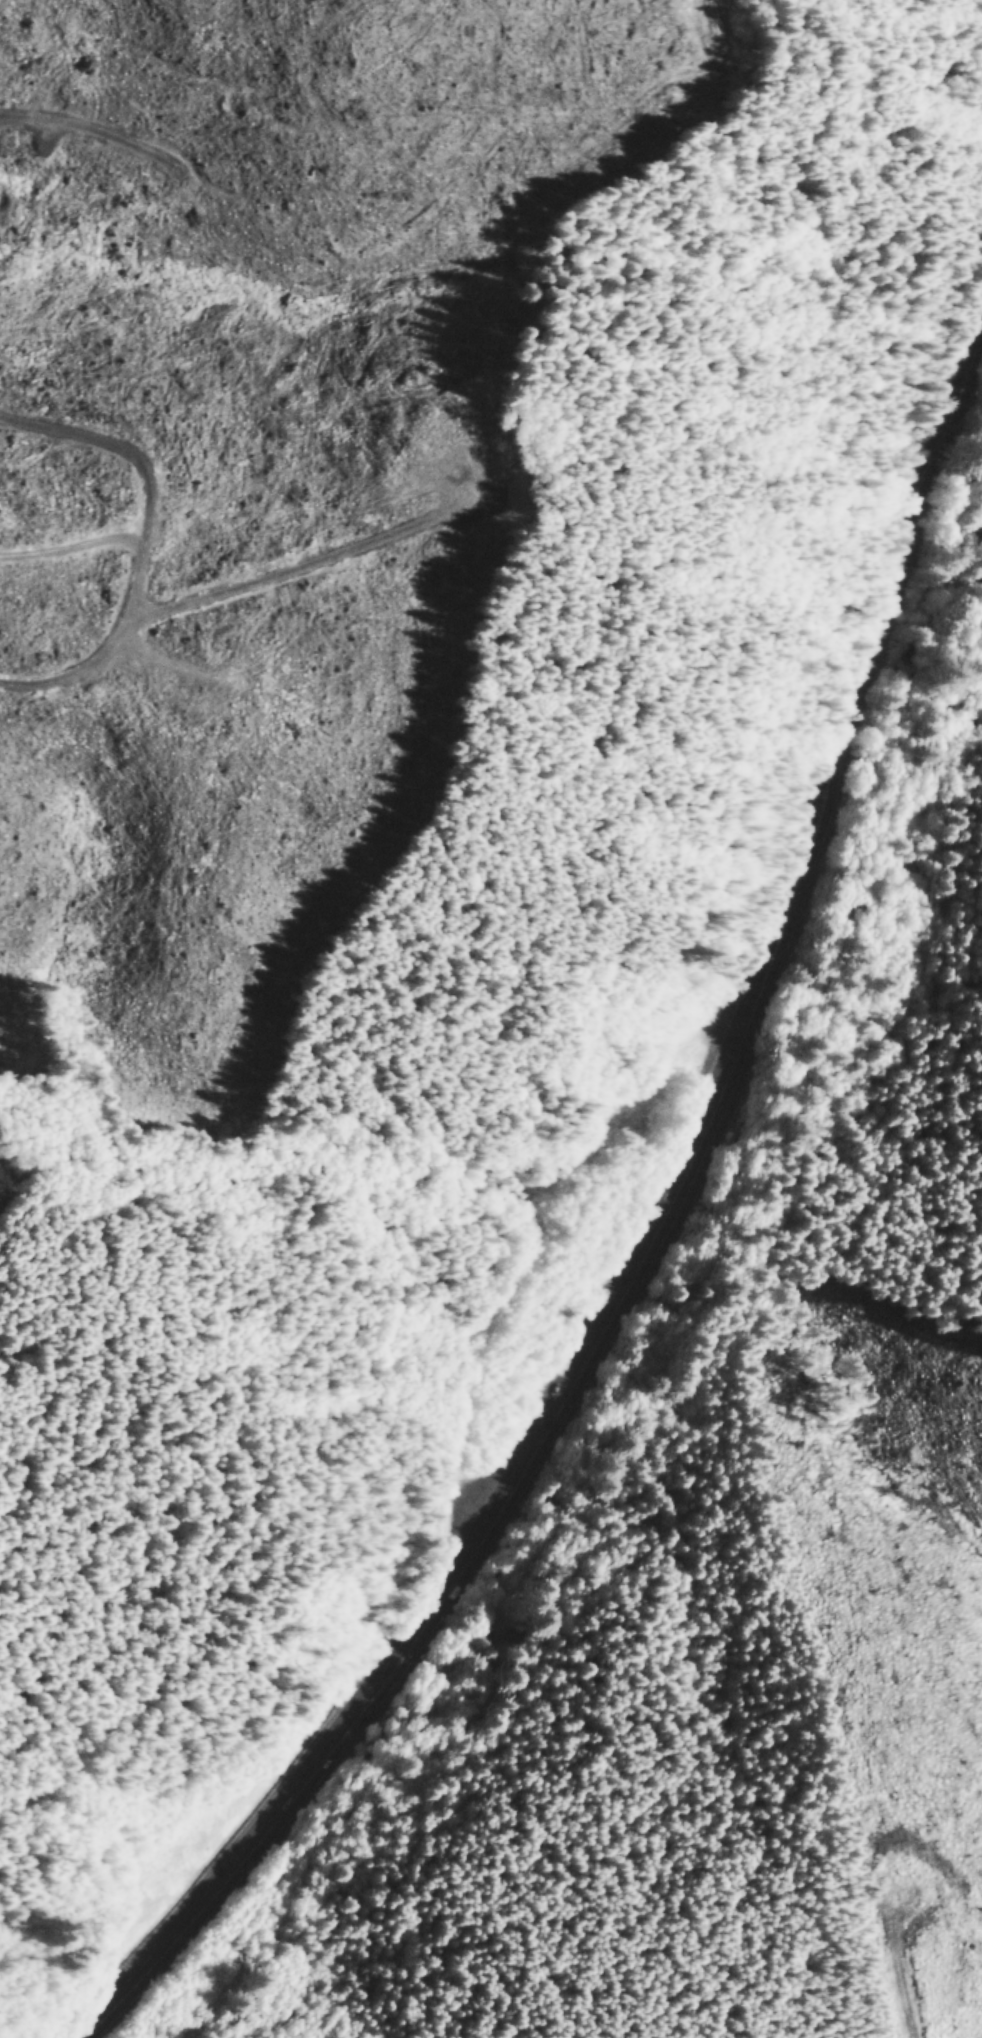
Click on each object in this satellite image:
road: (717, 21)
road: (145, 536)
road: (191, 650)
road: (648, 1259)

